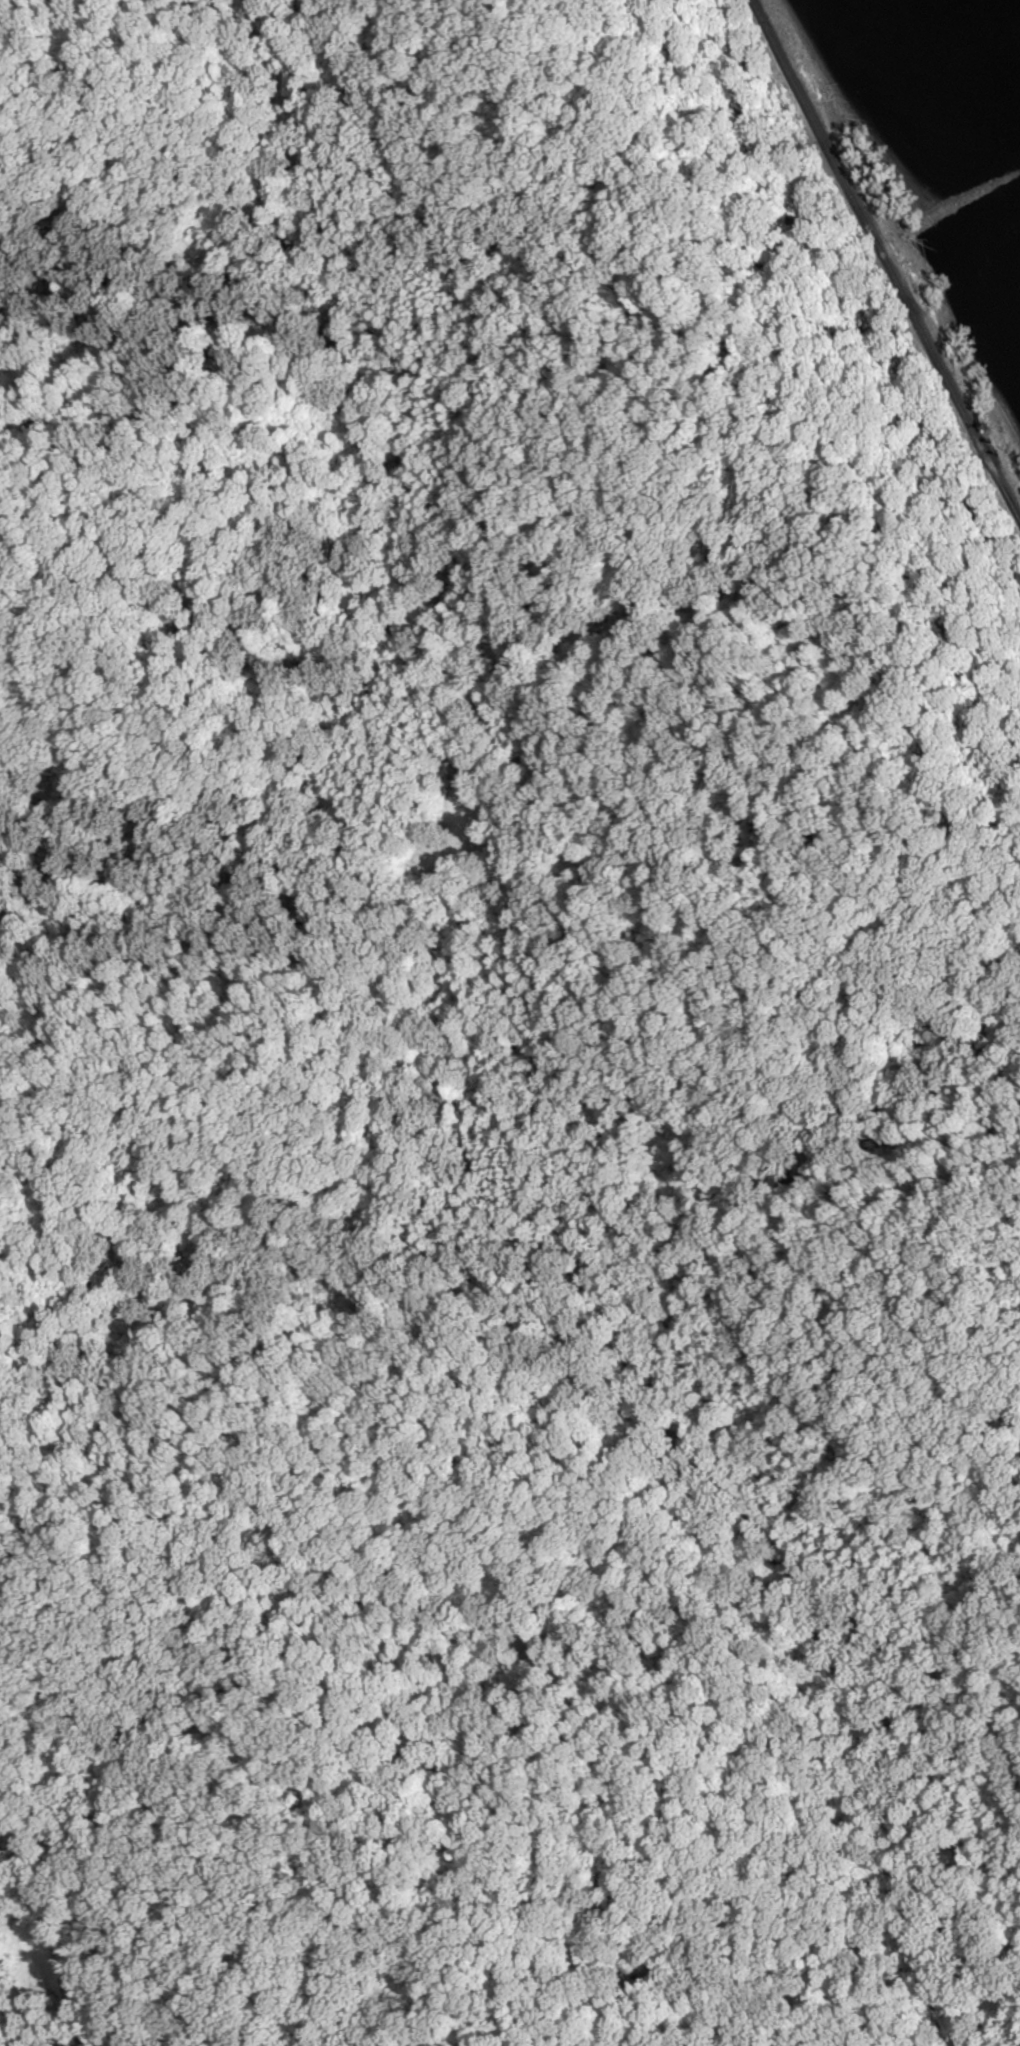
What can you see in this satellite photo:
railway: (885, 240)

